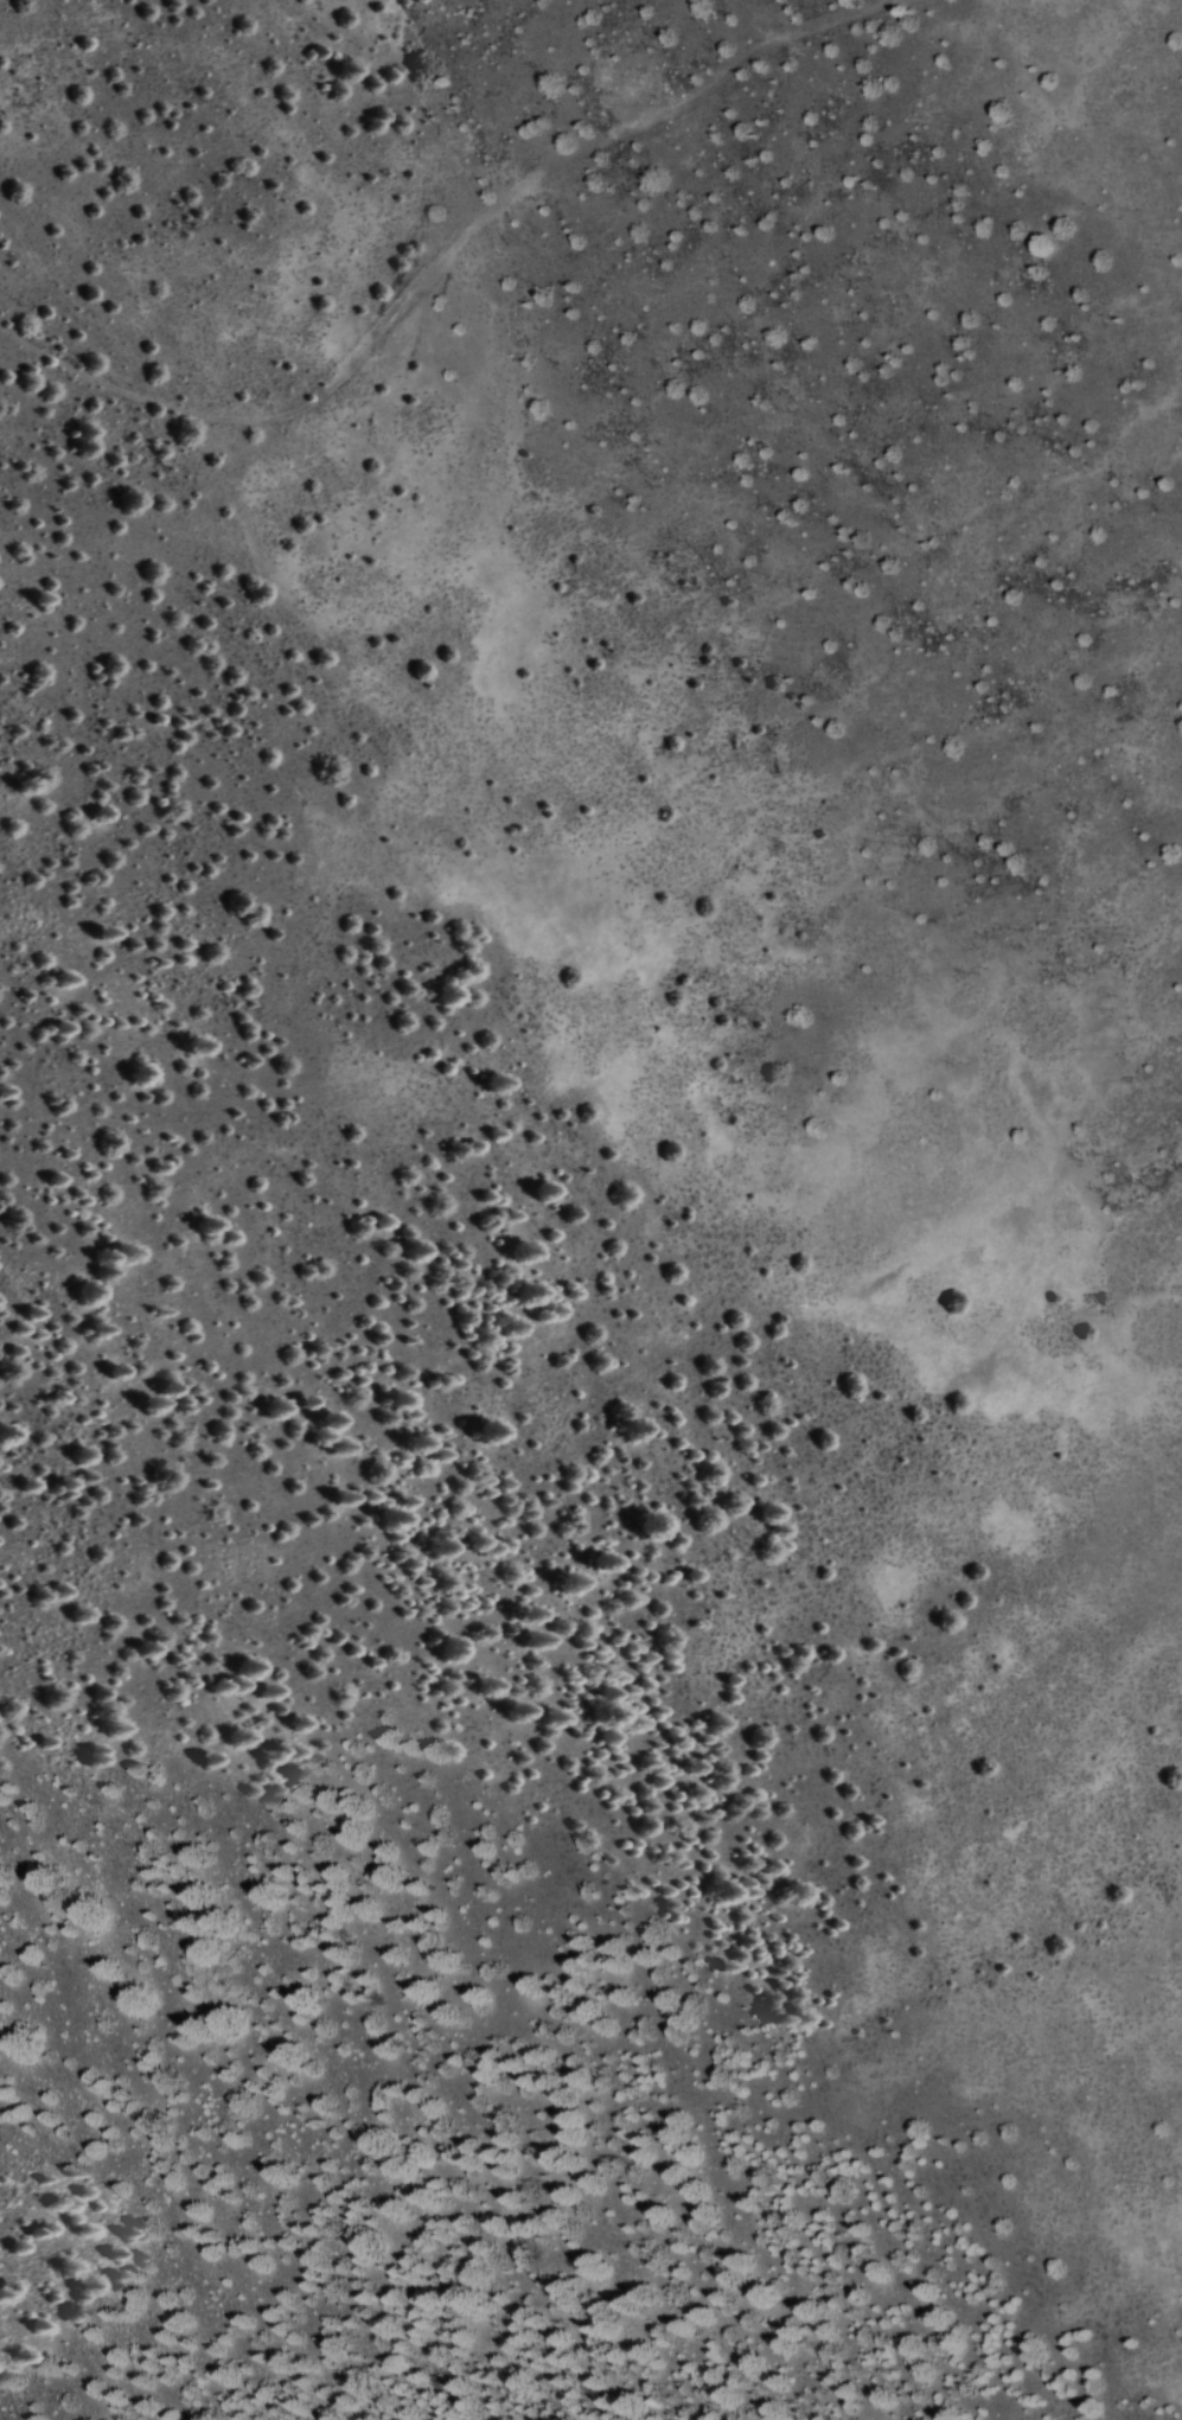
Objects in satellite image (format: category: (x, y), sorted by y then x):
road: (439, 262)

